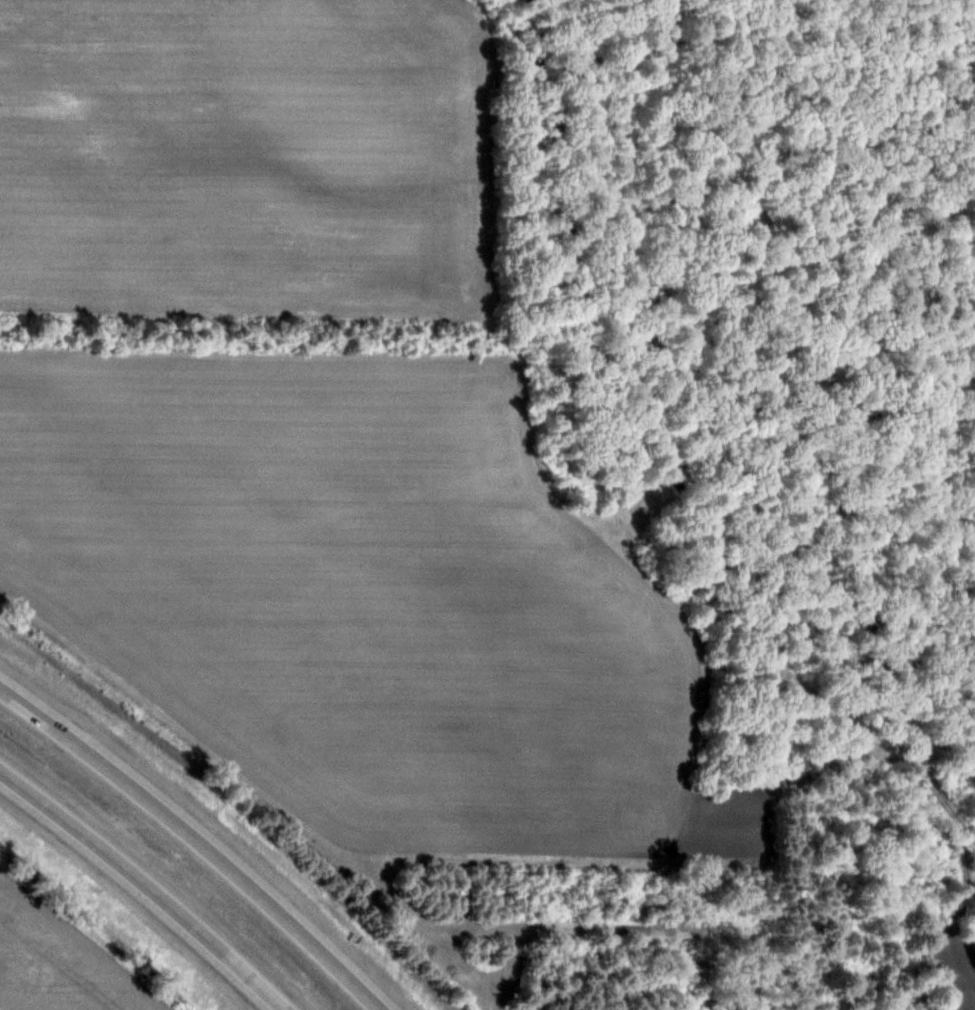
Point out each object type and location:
road: (197, 840)
road: (146, 884)

